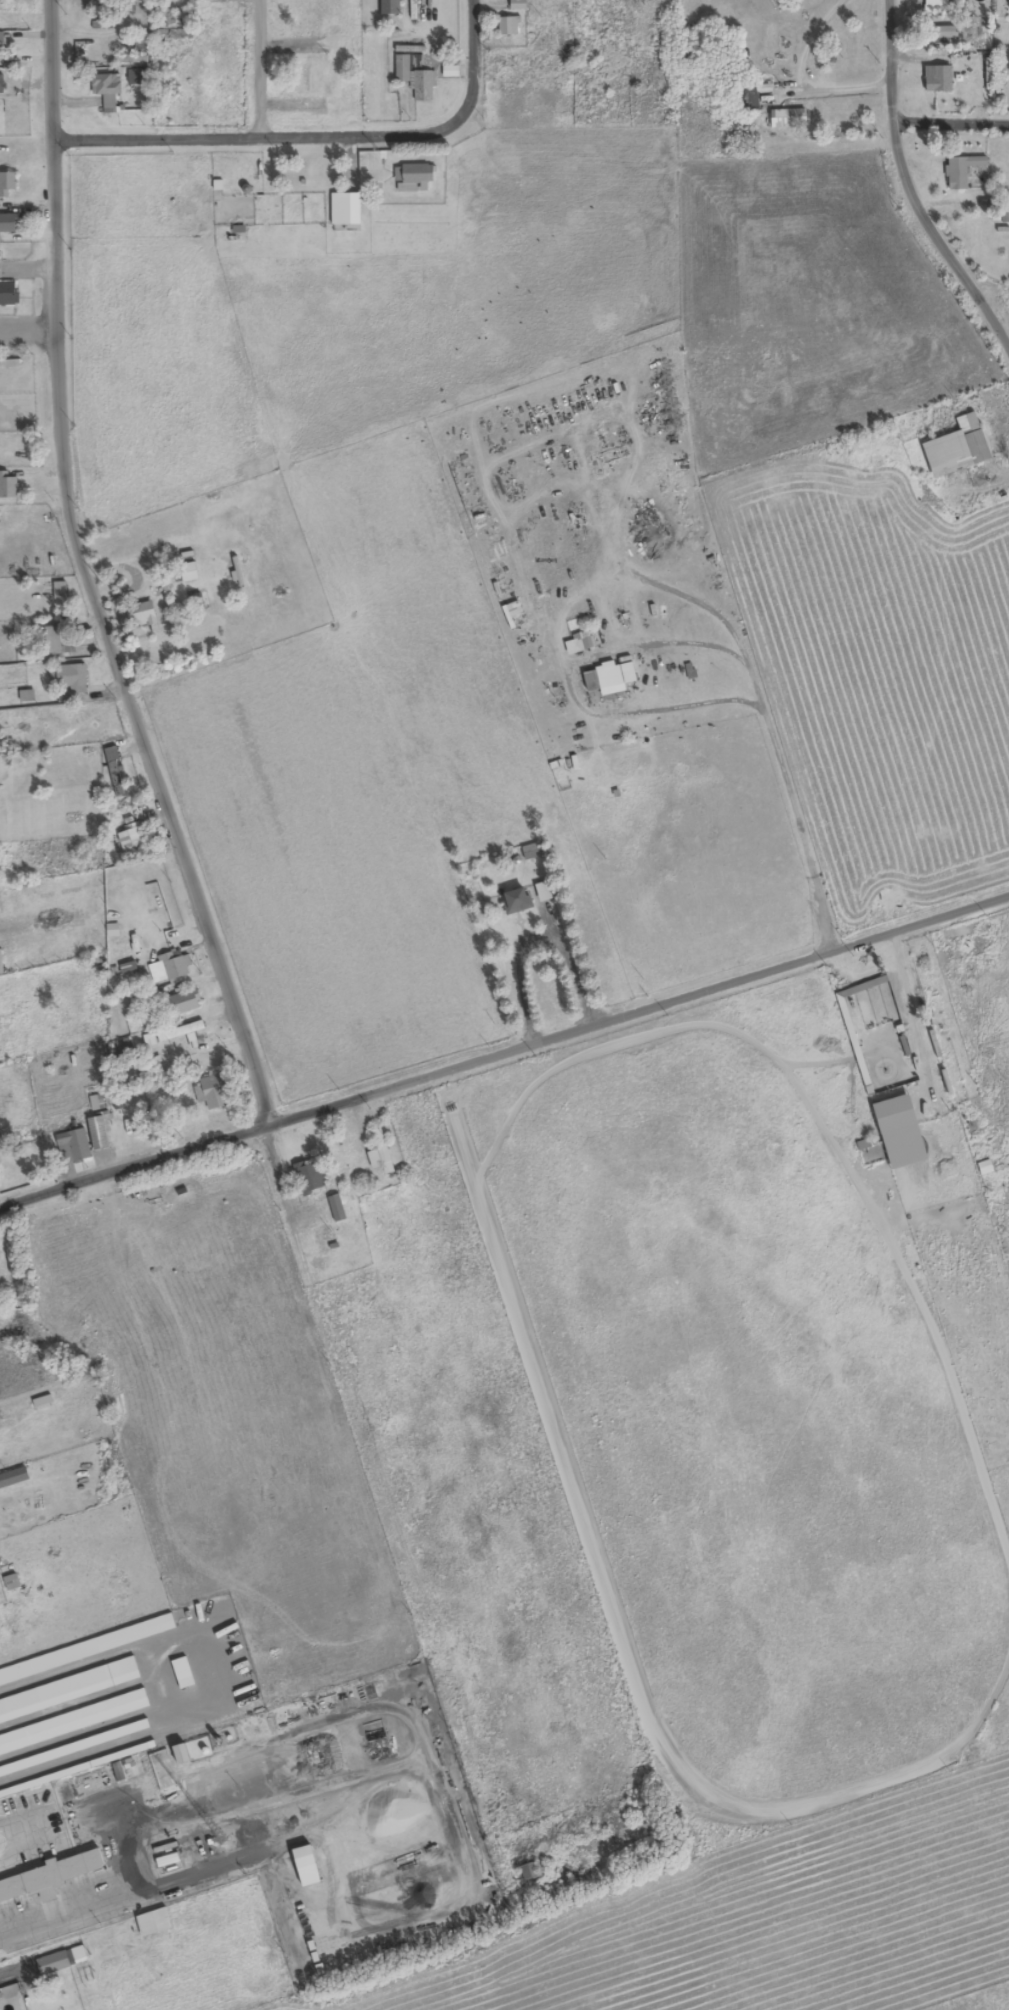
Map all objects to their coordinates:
building: (517, 4)
building: (390, 7)
building: (509, 26)
building: (945, 34)
building: (850, 36)
building: (1, 49)
road: (468, 54)
road: (264, 68)
building: (317, 76)
building: (938, 78)
building: (416, 79)
building: (2, 84)
building: (107, 90)
building: (781, 118)
road: (948, 126)
road: (264, 137)
building: (965, 170)
building: (413, 177)
building: (7, 184)
road: (905, 193)
building: (346, 209)
building: (9, 223)
building: (9, 294)
building: (974, 438)
building: (8, 486)
road: (81, 576)
building: (60, 591)
building: (201, 599)
building: (141, 615)
building: (59, 640)
building: (580, 645)
building: (72, 678)
building: (606, 680)
building: (115, 772)
building: (131, 837)
building: (545, 891)
building: (158, 900)
building: (517, 901)
building: (169, 968)
building: (185, 1003)
building: (847, 1018)
building: (182, 1033)
building: (124, 1047)
road: (505, 1056)
building: (214, 1092)
building: (97, 1103)
building: (99, 1133)
building: (74, 1147)
building: (381, 1153)
building: (309, 1177)
building: (337, 1208)
building: (14, 1478)
building: (87, 1649)
building: (183, 1673)
building: (68, 1689)
building: (73, 1721)
road: (190, 1743)
road: (433, 1766)
road: (164, 1792)
building: (304, 1856)
building: (530, 1872)
building: (49, 1877)
building: (154, 1922)
building: (59, 1961)
building: (0, 1996)

